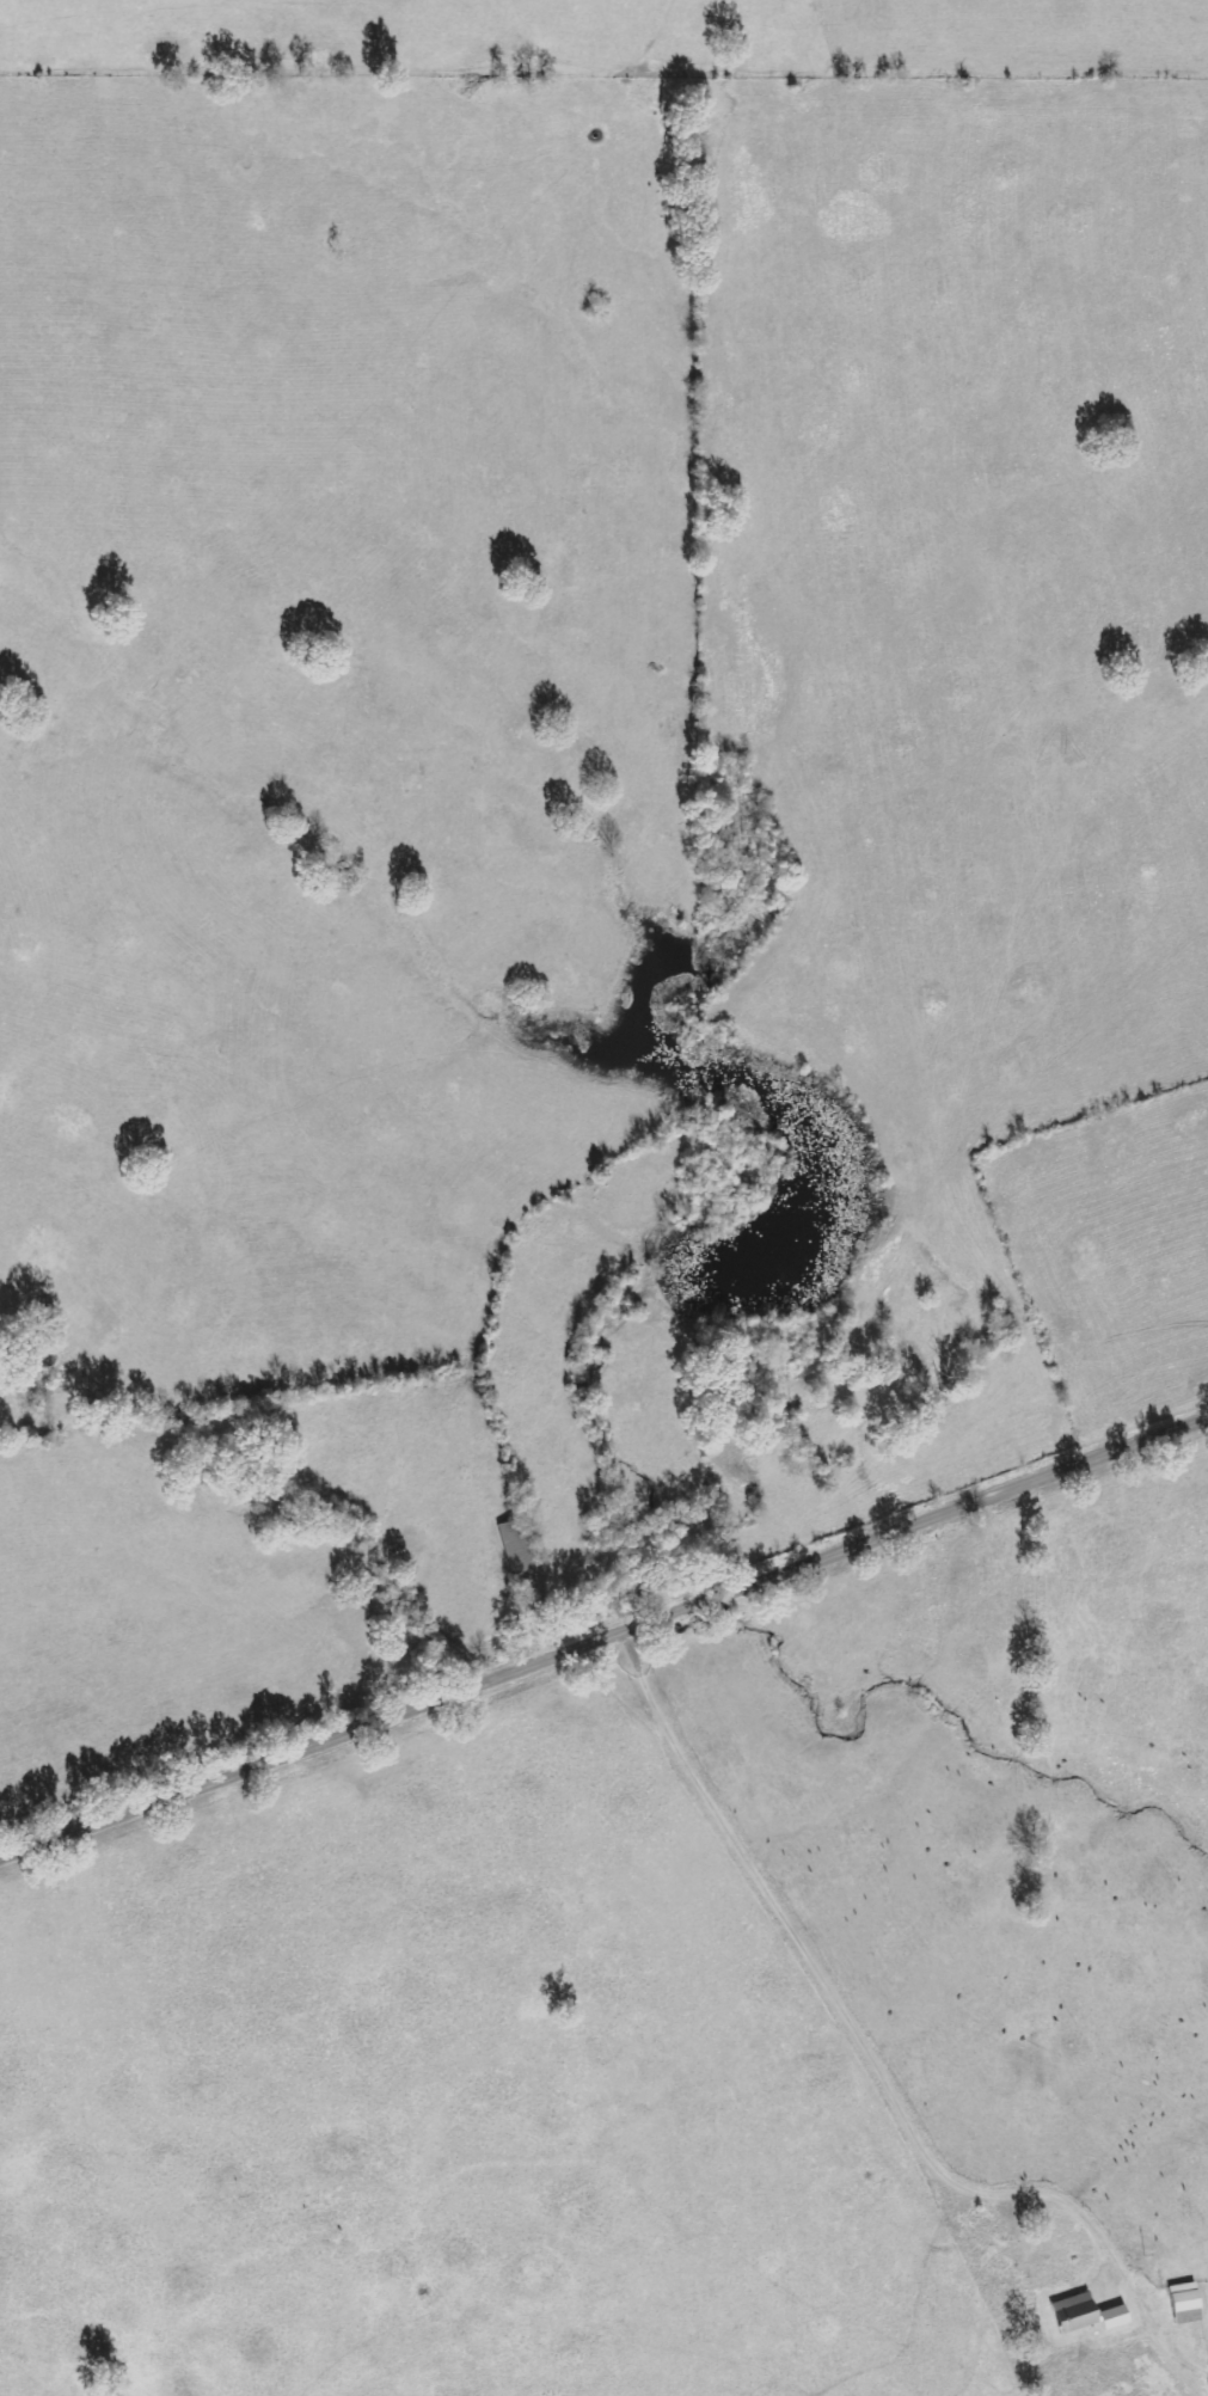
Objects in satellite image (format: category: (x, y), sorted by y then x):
road: (603, 1646)
building: (1186, 2303)

